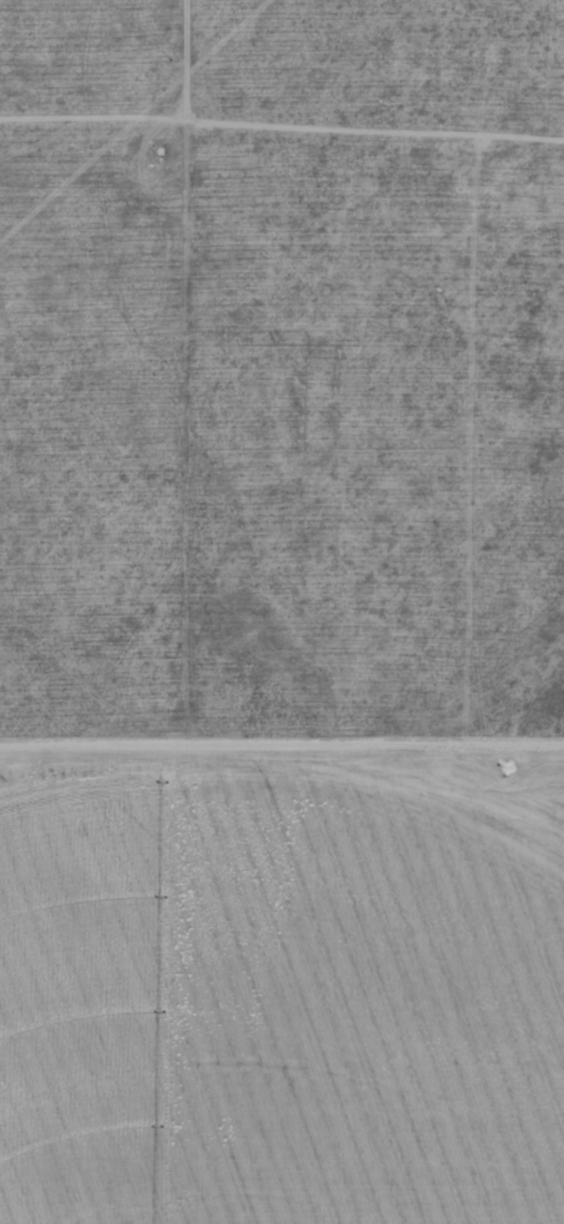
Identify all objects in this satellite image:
road: (464, 756)
road: (287, 779)

